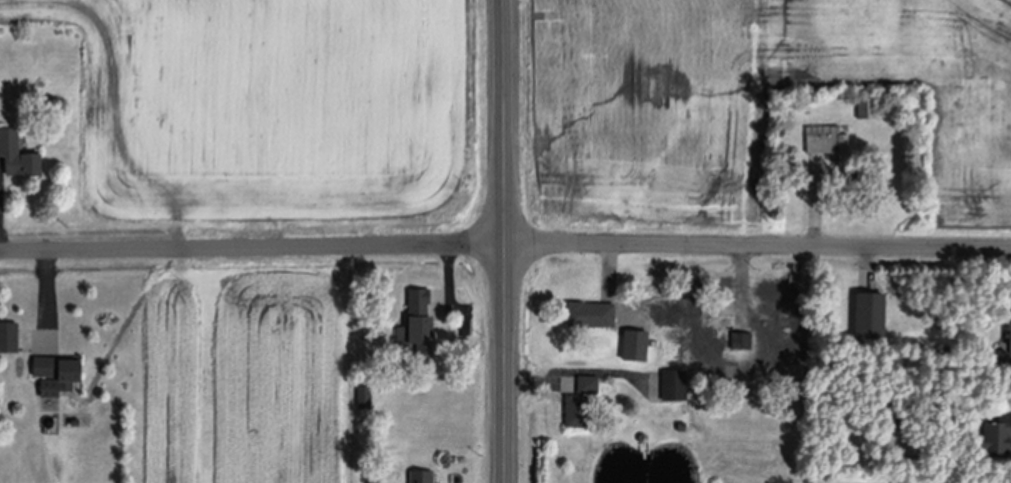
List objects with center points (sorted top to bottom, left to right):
building: (867, 107)
crop: (274, 114)
building: (832, 147)
building: (17, 155)
road: (506, 241)
road: (759, 246)
road: (253, 250)
building: (590, 314)
building: (870, 317)
building: (776, 323)
building: (418, 324)
building: (9, 338)
building: (1010, 339)
building: (741, 341)
building: (948, 351)
building: (1001, 355)
building: (57, 374)
crop: (169, 380)
building: (800, 380)
building: (588, 385)
building: (675, 385)
building: (364, 399)
building: (883, 404)
building: (577, 411)
building: (682, 427)
building: (643, 438)
building: (996, 438)
building: (421, 476)

